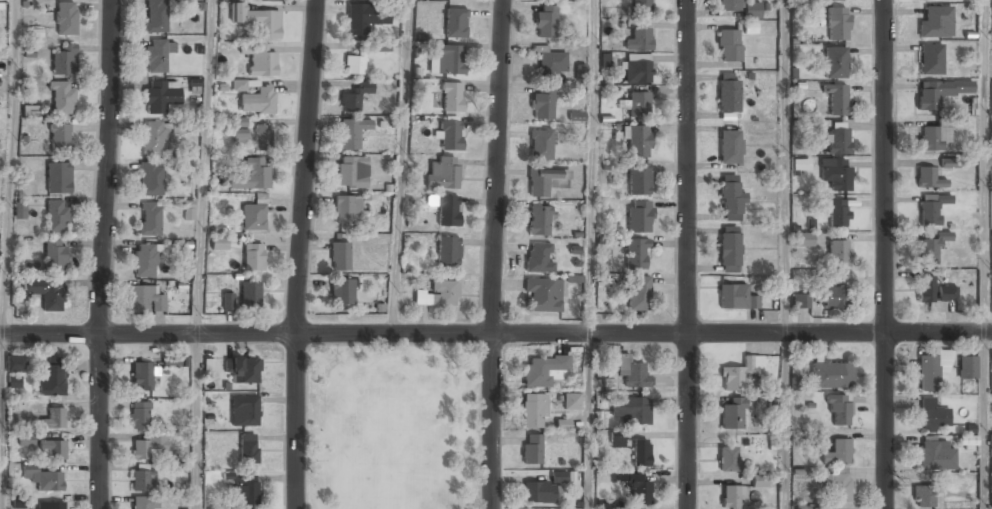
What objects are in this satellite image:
building: (830, 0)
building: (729, 5)
building: (642, 7)
building: (752, 10)
building: (156, 16)
building: (365, 18)
building: (65, 19)
building: (258, 20)
building: (545, 21)
building: (456, 22)
building: (935, 22)
building: (837, 23)
building: (639, 39)
building: (728, 45)
building: (156, 55)
building: (447, 59)
building: (931, 59)
building: (64, 60)
building: (259, 60)
building: (551, 61)
building: (835, 61)
building: (354, 64)
building: (637, 69)
building: (580, 72)
building: (939, 92)
building: (728, 96)
building: (62, 97)
building: (161, 97)
building: (354, 97)
building: (452, 97)
building: (837, 98)
building: (258, 101)
building: (542, 102)
building: (638, 104)
building: (30, 111)
building: (240, 131)
building: (352, 133)
building: (450, 134)
building: (60, 136)
building: (154, 138)
building: (932, 138)
building: (262, 139)
building: (637, 141)
building: (837, 141)
building: (541, 143)
building: (730, 147)
building: (952, 162)
building: (801, 164)
road: (786, 166)
road: (984, 166)
road: (7, 167)
road: (204, 167)
road: (398, 167)
road: (590, 167)
building: (352, 172)
building: (443, 172)
building: (835, 173)
building: (252, 175)
building: (59, 177)
building: (151, 178)
building: (928, 178)
building: (639, 179)
building: (545, 180)
building: (730, 197)
building: (347, 204)
building: (931, 207)
building: (19, 210)
building: (189, 210)
building: (448, 210)
building: (836, 211)
building: (57, 216)
building: (639, 216)
building: (253, 217)
building: (150, 219)
building: (538, 221)
building: (803, 239)
building: (219, 243)
building: (931, 247)
building: (447, 250)
building: (729, 252)
building: (836, 252)
building: (636, 253)
road: (103, 254)
road: (300, 254)
road: (492, 254)
road: (687, 254)
road: (882, 254)
building: (55, 255)
building: (340, 256)
building: (253, 257)
building: (539, 257)
building: (145, 261)
building: (925, 288)
building: (342, 291)
building: (46, 292)
building: (438, 293)
building: (639, 293)
building: (947, 293)
building: (250, 295)
building: (542, 296)
building: (835, 296)
building: (141, 298)
building: (734, 298)
building: (801, 300)
building: (228, 301)
road: (496, 334)
road: (392, 345)
road: (491, 349)
road: (295, 351)
building: (174, 359)
building: (14, 363)
building: (966, 367)
building: (243, 369)
building: (931, 369)
building: (543, 370)
building: (630, 371)
building: (832, 374)
building: (739, 375)
building: (141, 376)
building: (52, 379)
building: (14, 381)
building: (571, 401)
building: (631, 409)
building: (838, 409)
building: (244, 410)
building: (533, 411)
building: (733, 414)
building: (138, 415)
building: (933, 415)
building: (53, 419)
road: (983, 420)
road: (588, 421)
road: (785, 421)
road: (1, 422)
road: (197, 422)
park: (392, 428)
road: (479, 429)
road: (306, 430)
building: (26, 439)
building: (991, 439)
building: (616, 440)
building: (146, 448)
building: (248, 448)
building: (532, 449)
building: (52, 450)
building: (642, 452)
building: (837, 452)
building: (936, 455)
building: (728, 459)
building: (559, 476)
building: (43, 479)
building: (143, 480)
building: (759, 480)
building: (837, 487)
building: (639, 488)
building: (245, 489)
building: (538, 493)
building: (732, 496)
building: (924, 496)
building: (144, 502)
building: (51, 505)
building: (828, 508)

